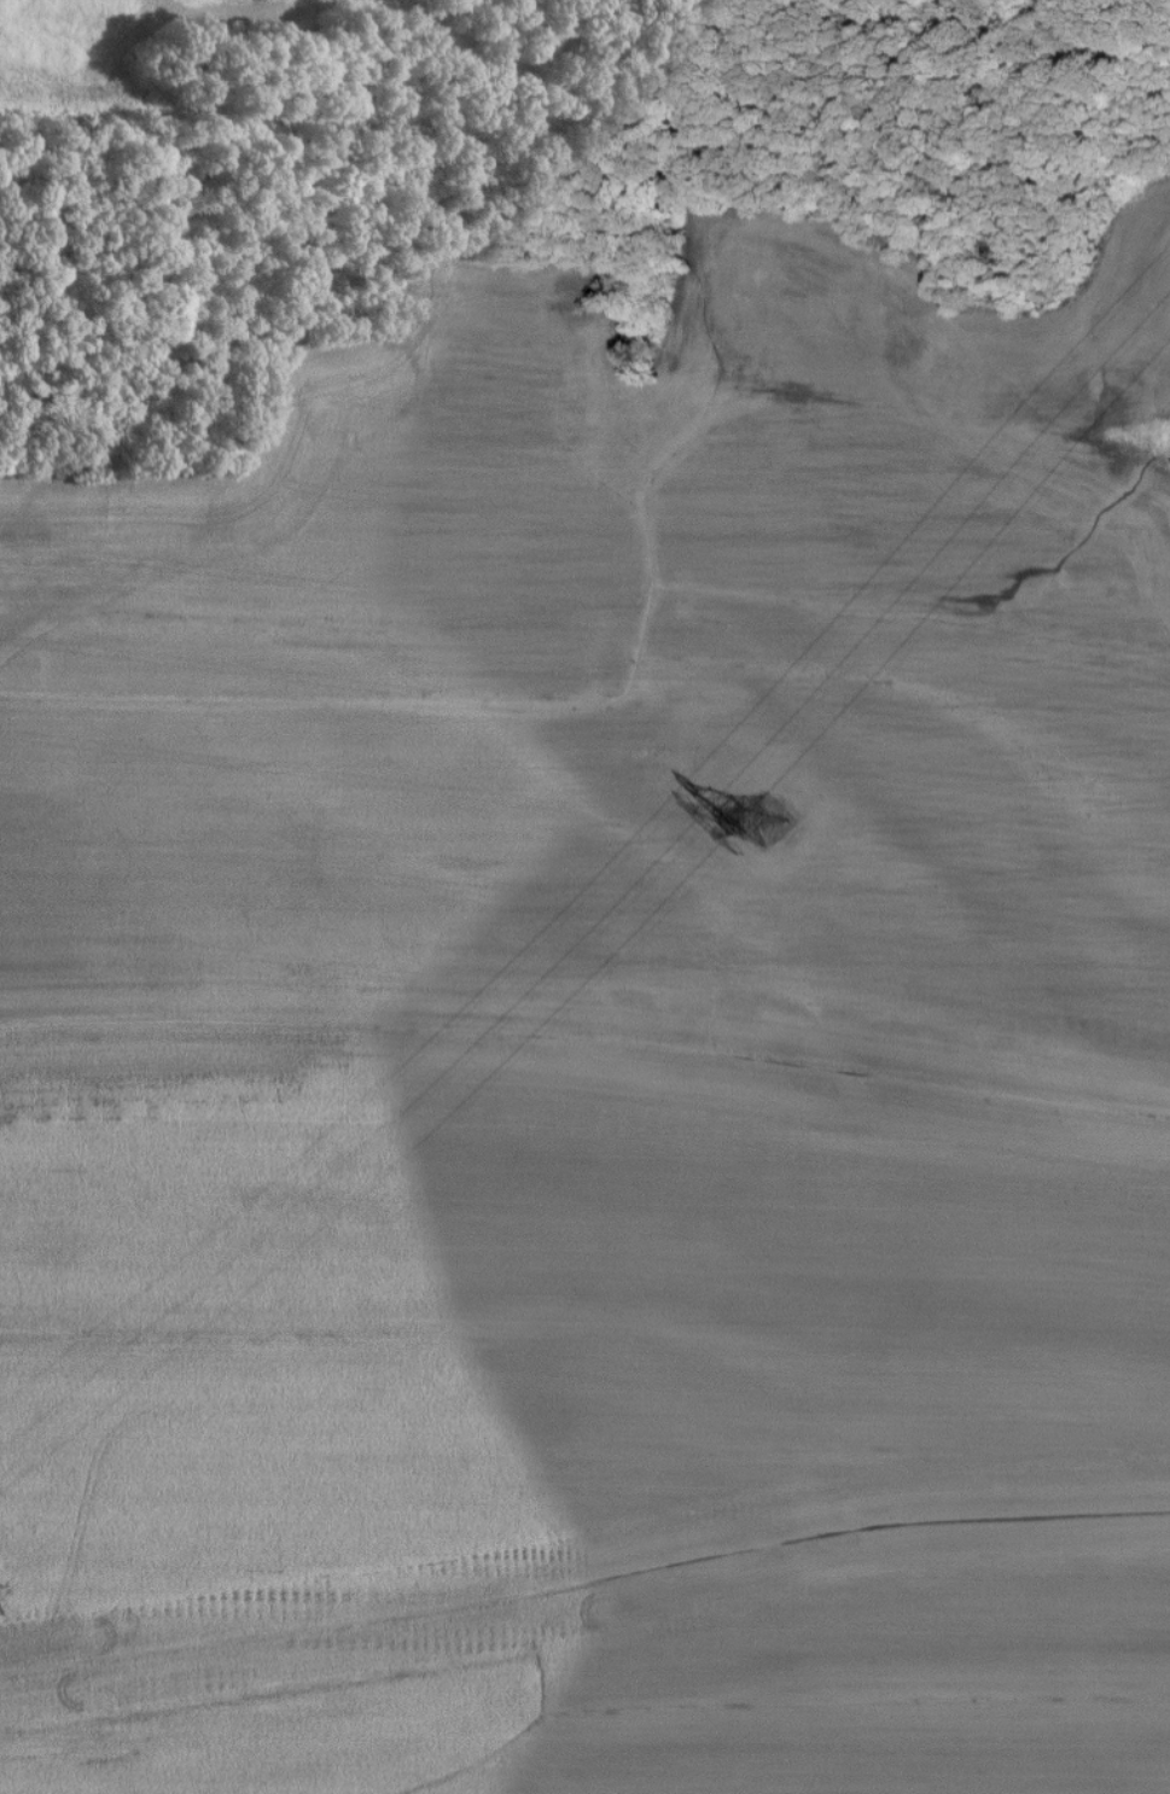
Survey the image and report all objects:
power tower: (769, 823)

